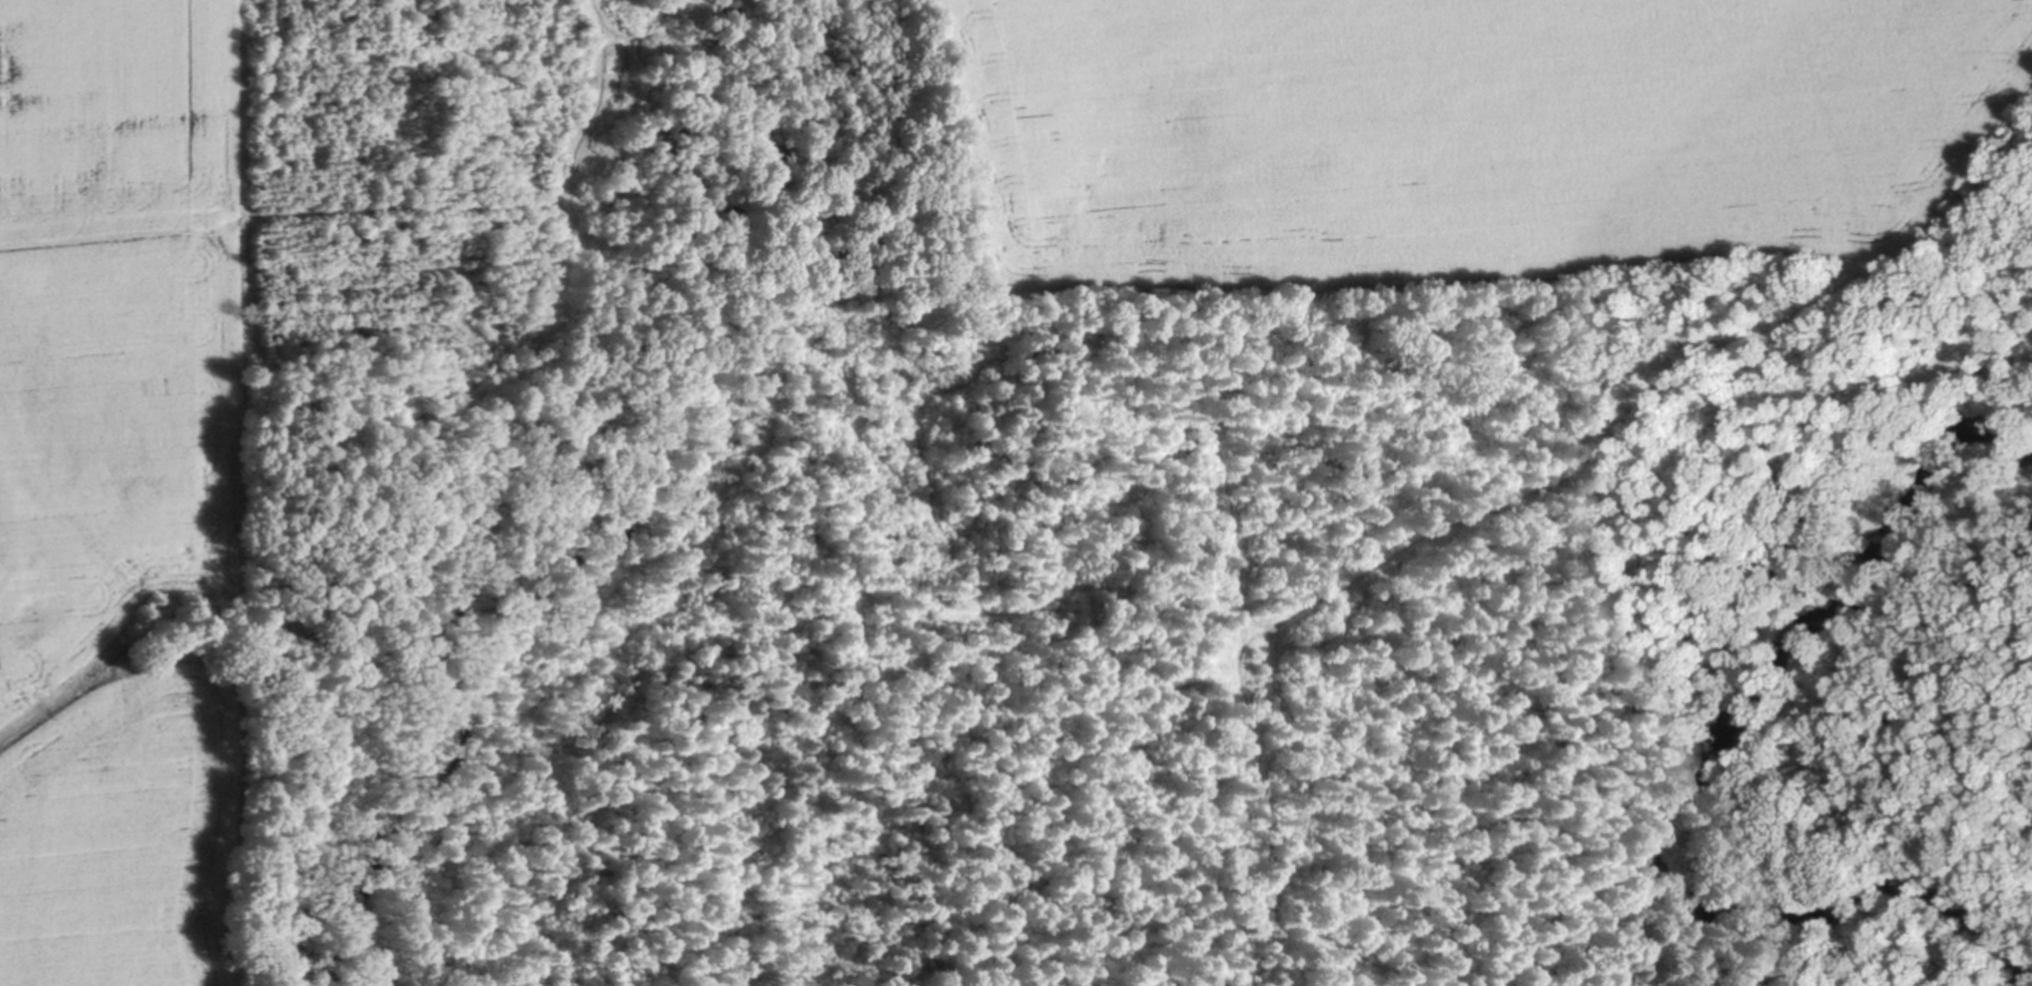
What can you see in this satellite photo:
crop: (121, 497)
river: (1686, 778)

